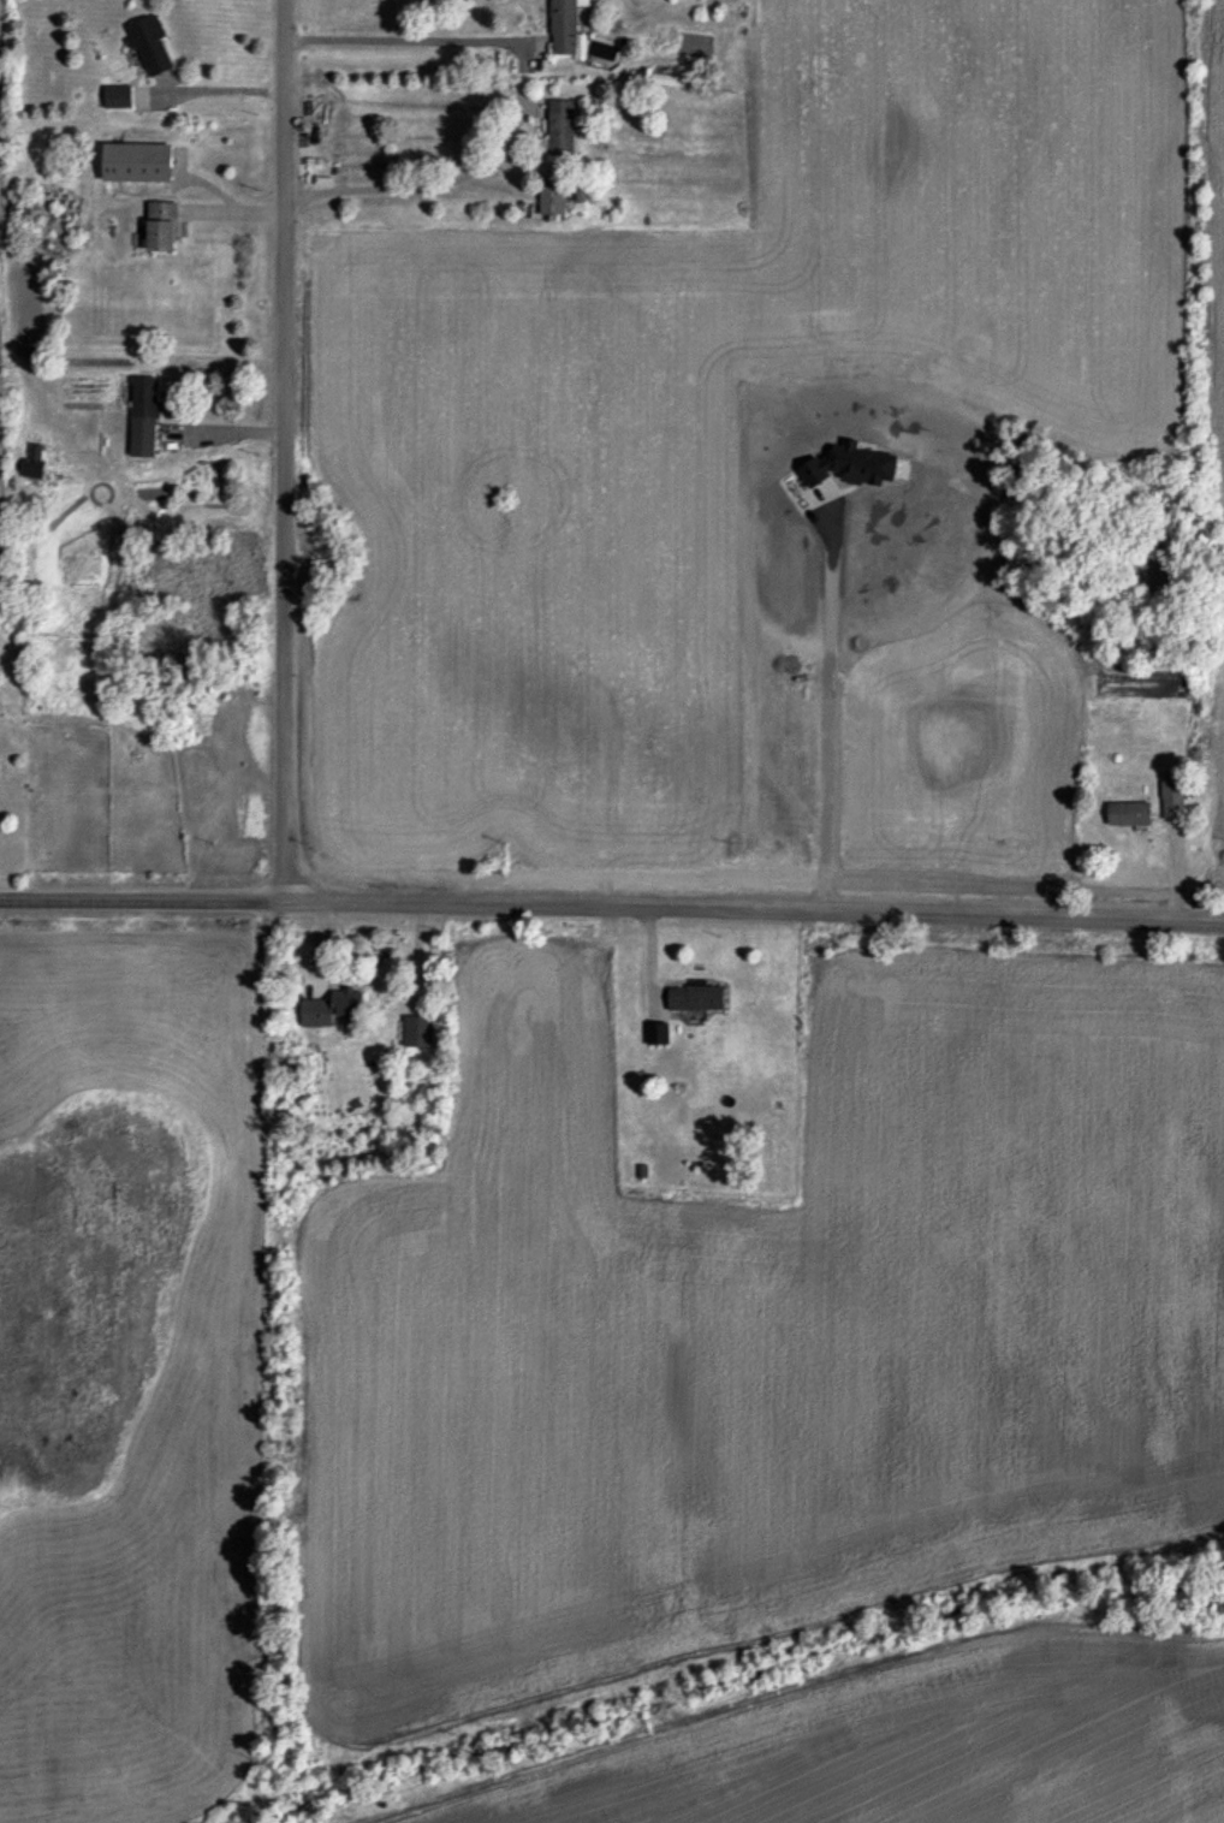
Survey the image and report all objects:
building: (564, 22)
road: (412, 40)
building: (150, 43)
building: (662, 78)
road: (219, 90)
building: (118, 95)
building: (562, 127)
building: (137, 161)
road: (408, 185)
building: (552, 198)
building: (162, 225)
building: (144, 415)
road: (283, 452)
crop: (755, 457)
building: (34, 461)
road: (821, 717)
building: (1174, 796)
building: (1129, 813)
road: (141, 903)
road: (753, 916)
building: (696, 997)
building: (331, 1006)
building: (418, 1031)
building: (658, 1032)

